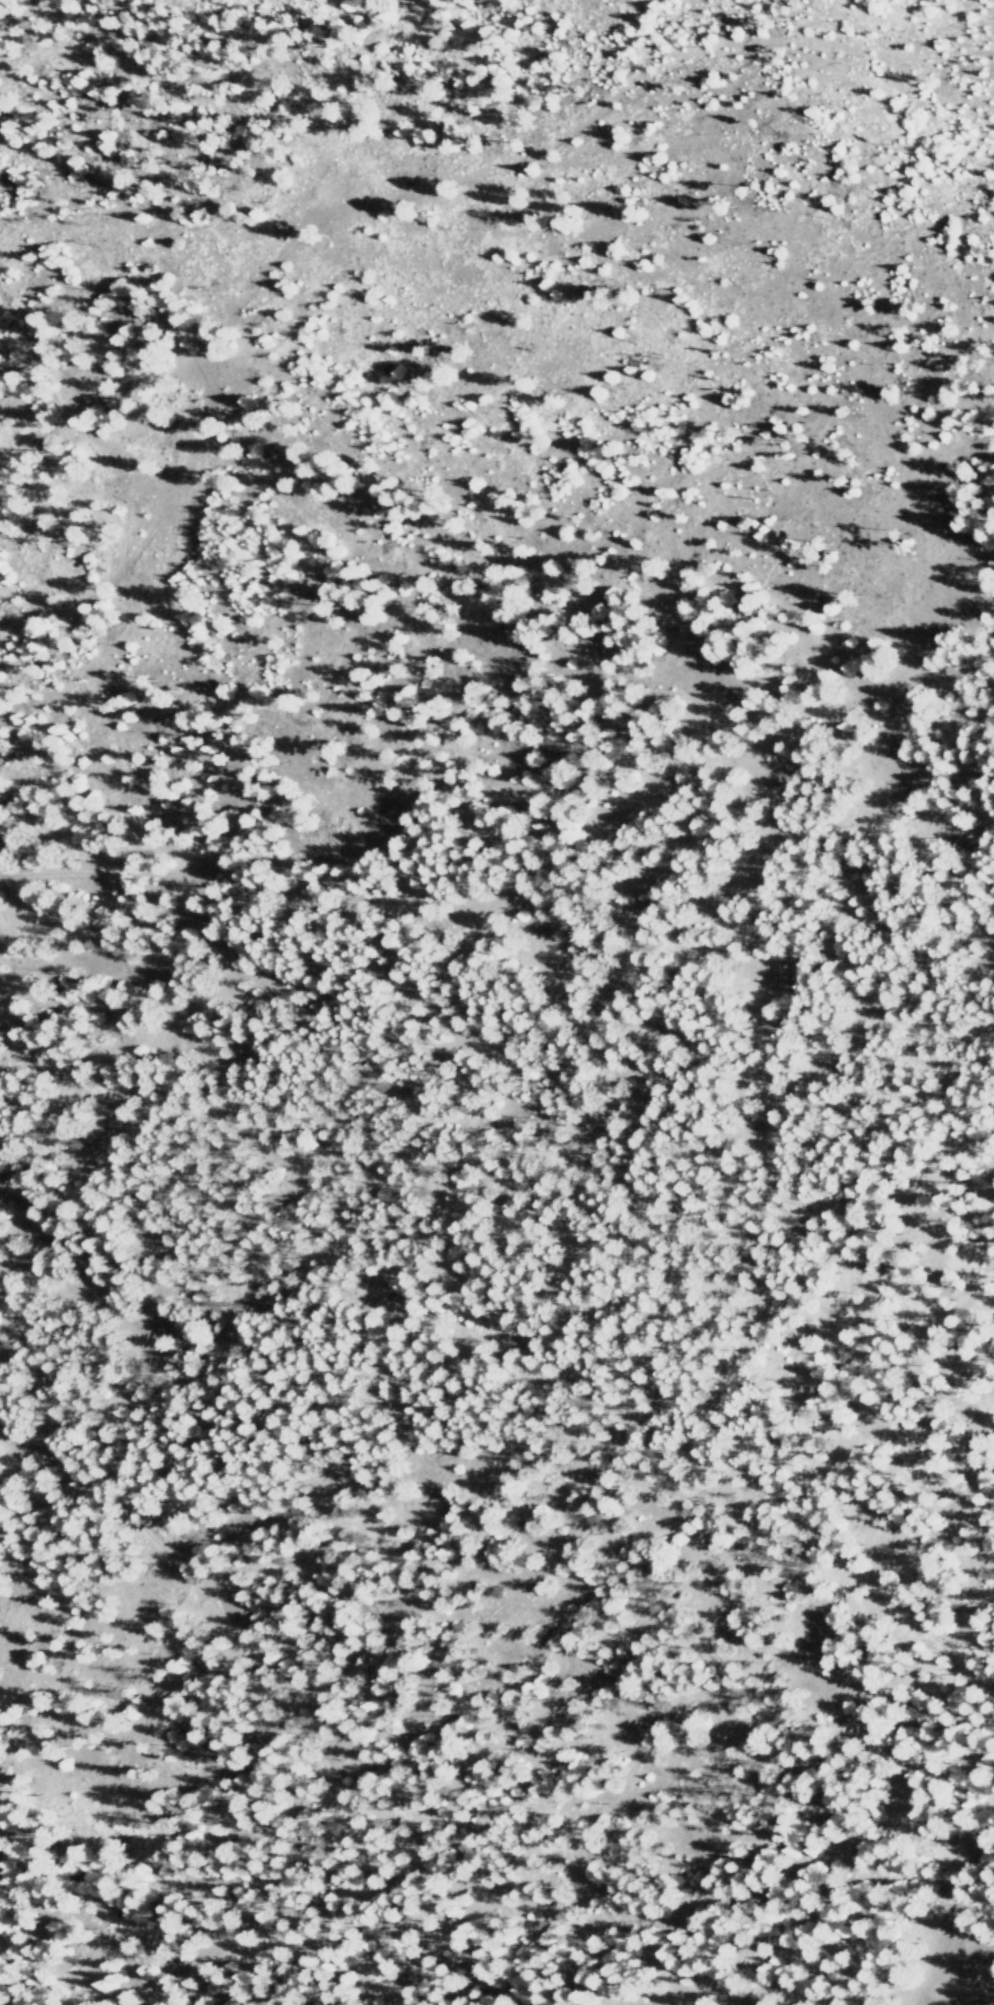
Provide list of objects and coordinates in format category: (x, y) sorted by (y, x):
road: (931, 1955)

